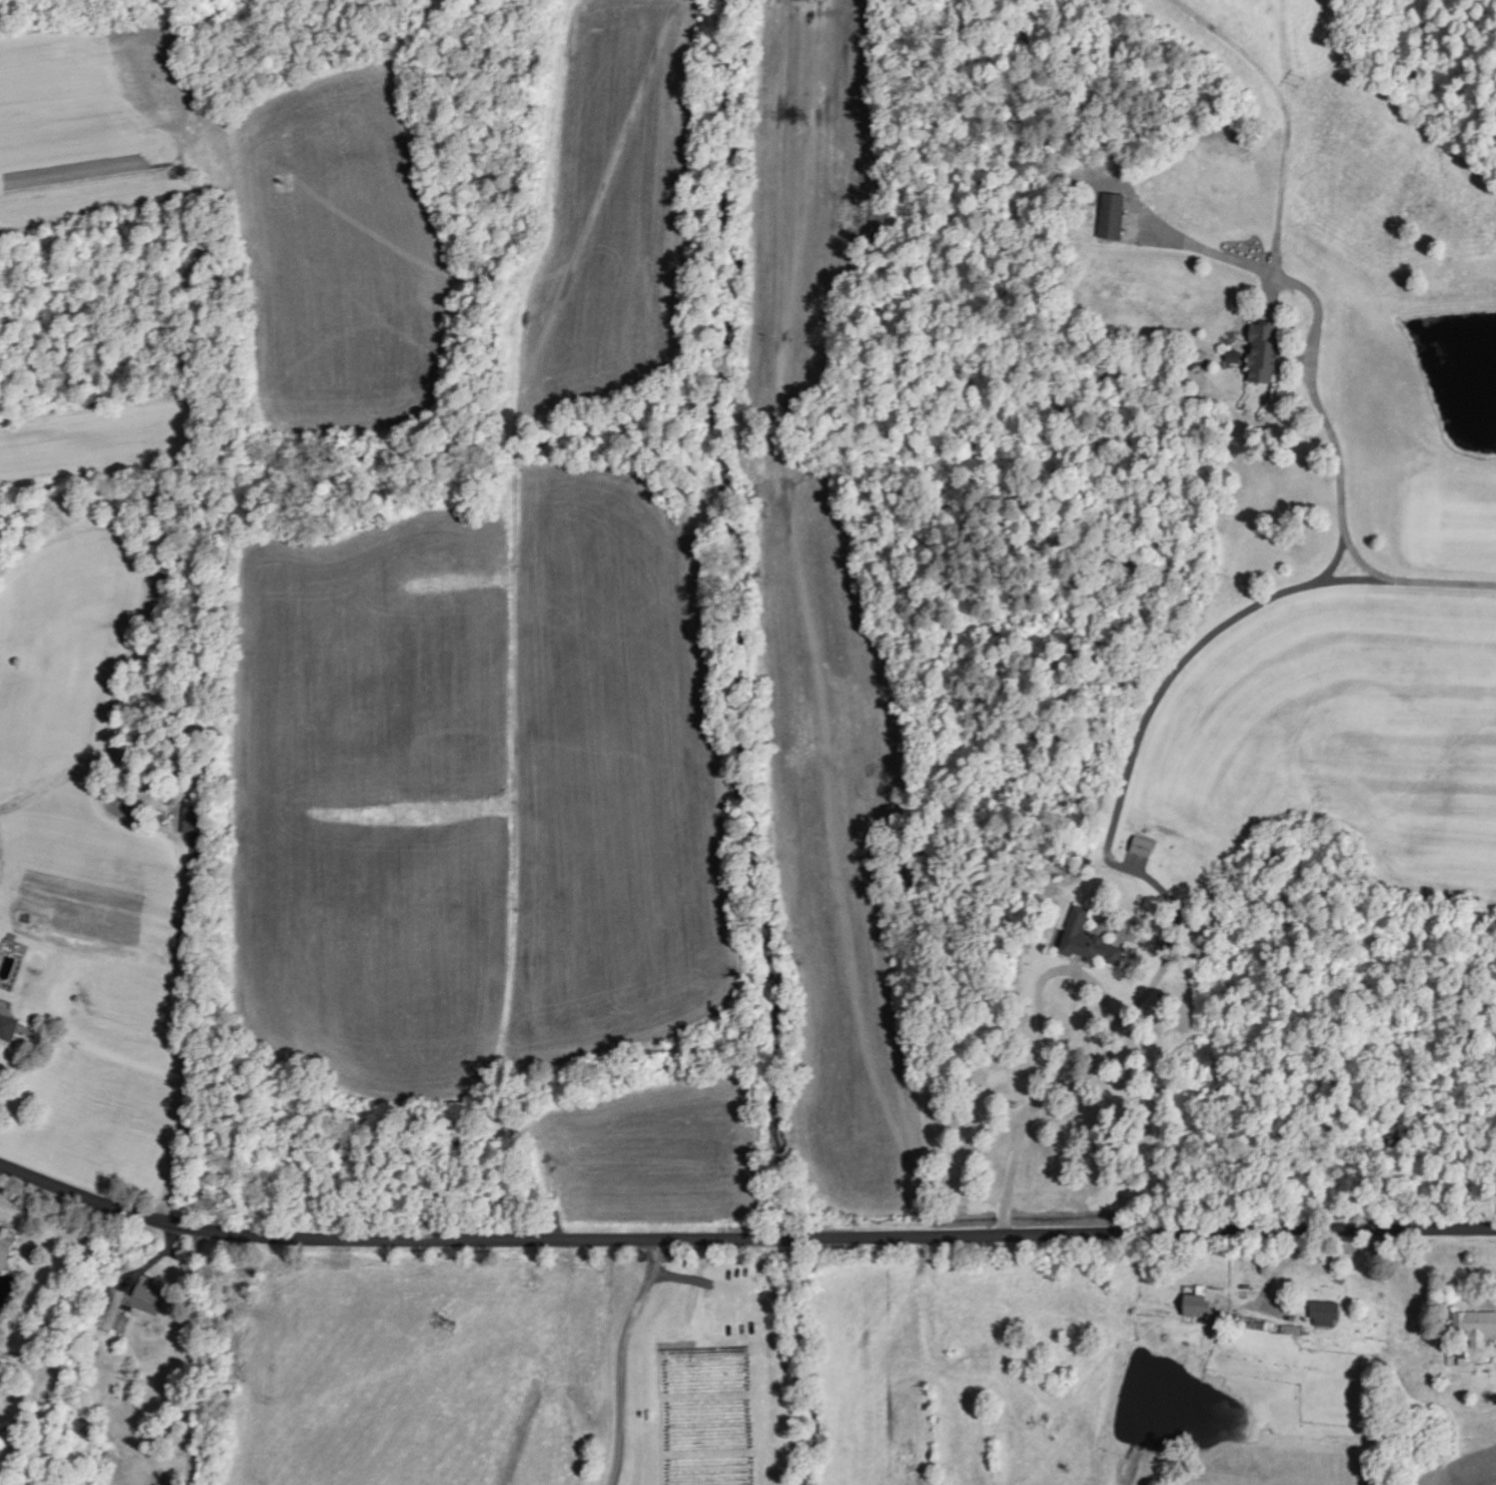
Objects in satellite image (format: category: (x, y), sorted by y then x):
building: (1113, 218)
building: (1266, 355)
building: (1237, 359)
building: (194, 821)
building: (1144, 847)
building: (1090, 943)
building: (8, 1025)
road: (741, 1237)
building: (6, 1250)
building: (131, 1305)
building: (1200, 1306)
building: (1326, 1315)
building: (1477, 1326)

